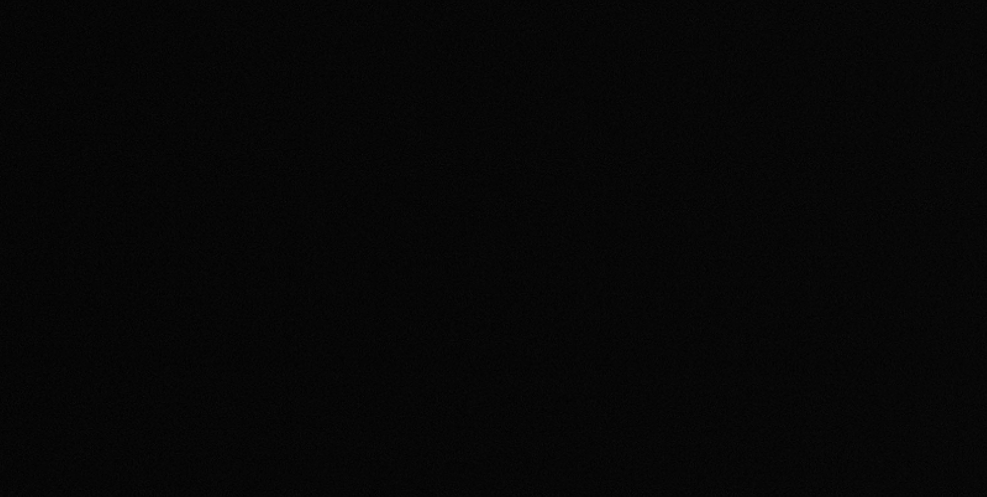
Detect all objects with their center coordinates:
river: (285, 241)

